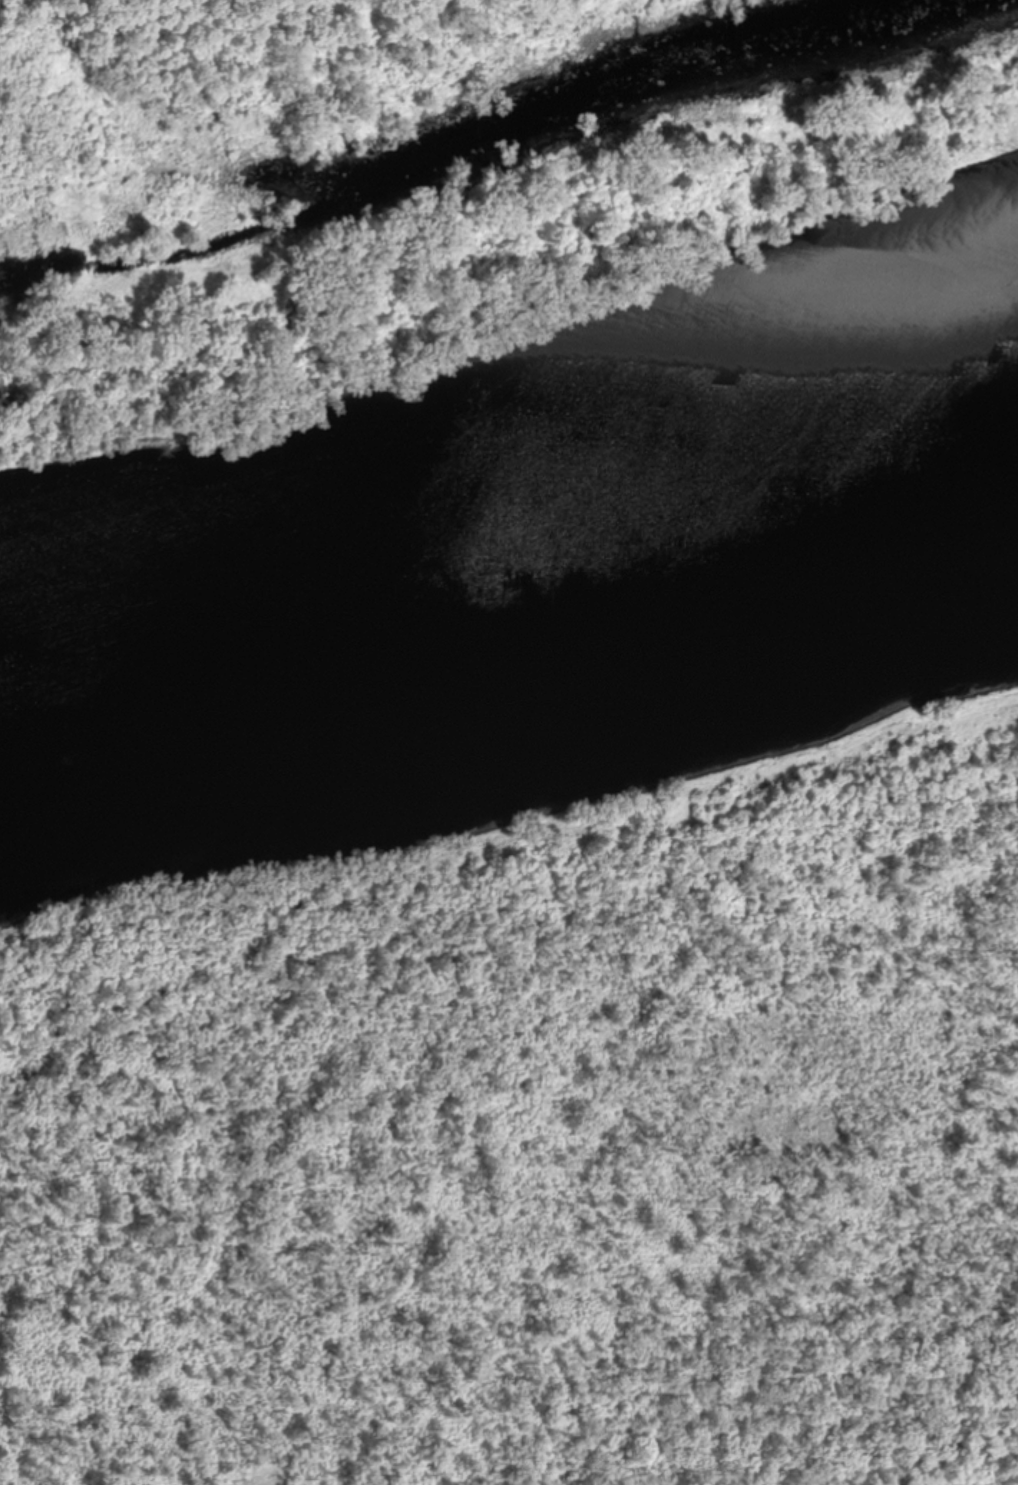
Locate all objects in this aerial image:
river: (512, 593)
park: (533, 1022)

